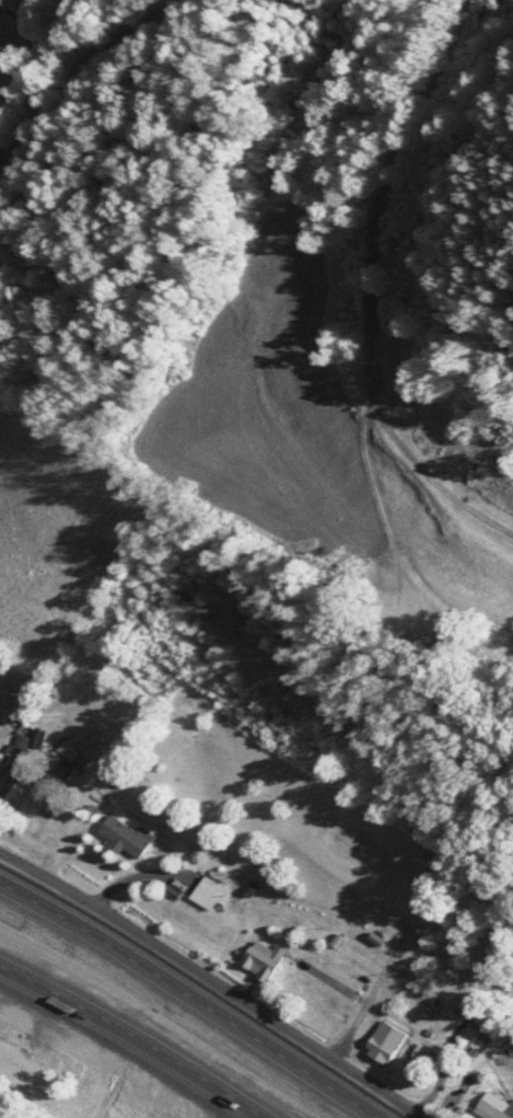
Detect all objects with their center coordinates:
road: (116, 73)
building: (13, 789)
building: (125, 834)
building: (207, 890)
building: (265, 956)
road: (217, 979)
road: (196, 993)
road: (141, 1033)
building: (385, 1038)
building: (494, 1105)

